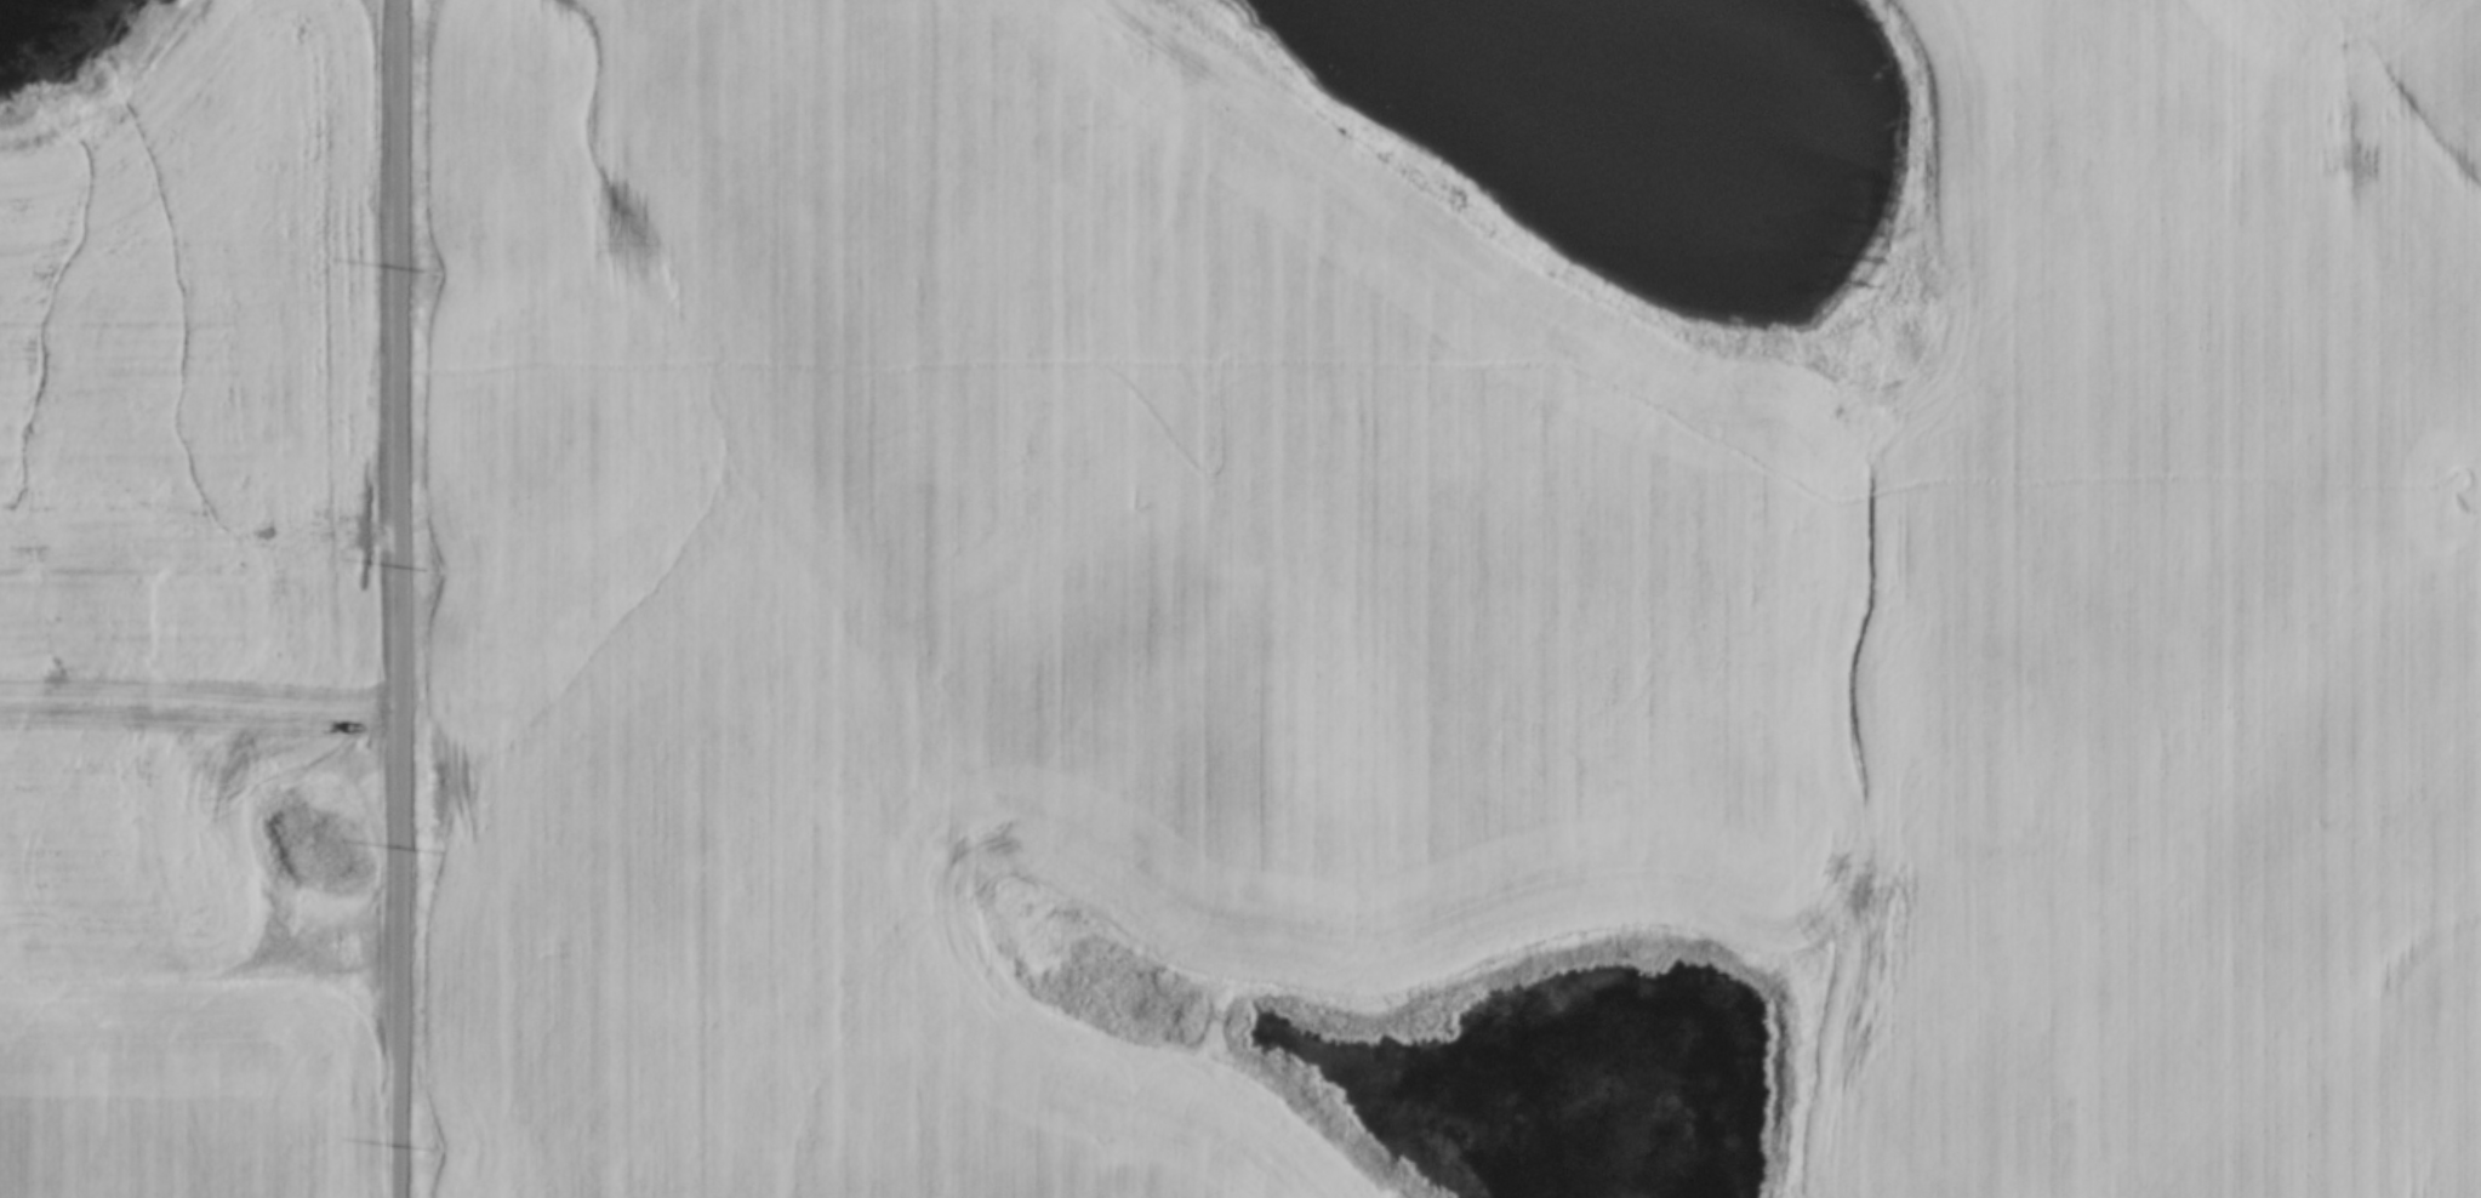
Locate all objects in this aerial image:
wind turbine: (2384, 472)
road: (405, 599)

